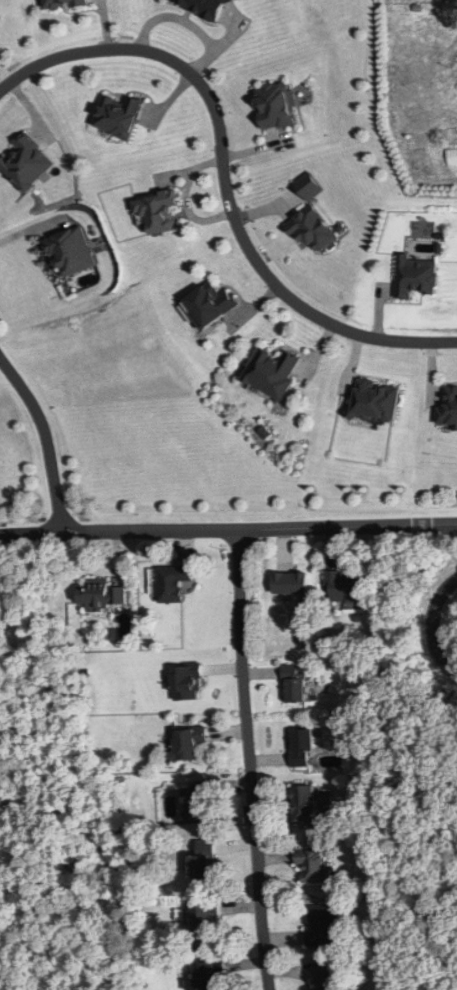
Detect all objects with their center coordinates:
building: (62, 3)
building: (276, 105)
building: (119, 117)
building: (26, 163)
road: (223, 175)
building: (158, 211)
building: (312, 230)
building: (70, 252)
building: (414, 277)
building: (210, 304)
building: (273, 371)
building: (376, 400)
building: (447, 405)
road: (44, 440)
road: (228, 530)
building: (172, 583)
building: (291, 583)
building: (345, 586)
building: (101, 593)
road: (432, 625)
building: (186, 682)
building: (293, 684)
building: (186, 743)
building: (300, 747)
road: (249, 760)
building: (304, 804)
building: (197, 805)
building: (204, 861)
building: (312, 865)
building: (208, 918)
building: (321, 925)
building: (209, 977)
building: (323, 977)

